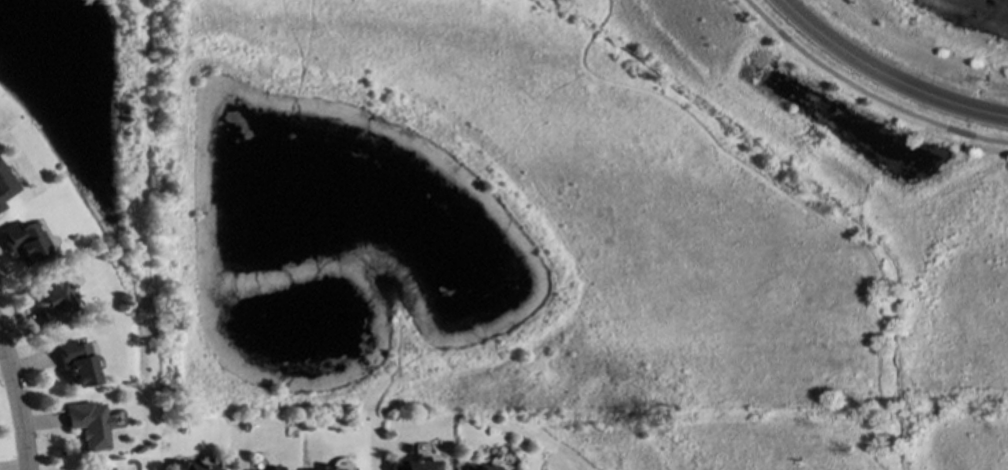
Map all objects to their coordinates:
road: (886, 75)
road: (864, 93)
building: (5, 186)
park: (551, 211)
building: (23, 243)
building: (54, 300)
building: (76, 363)
road: (20, 403)
building: (92, 424)
building: (412, 465)
building: (196, 467)
building: (99, 468)
building: (275, 468)
building: (475, 468)

